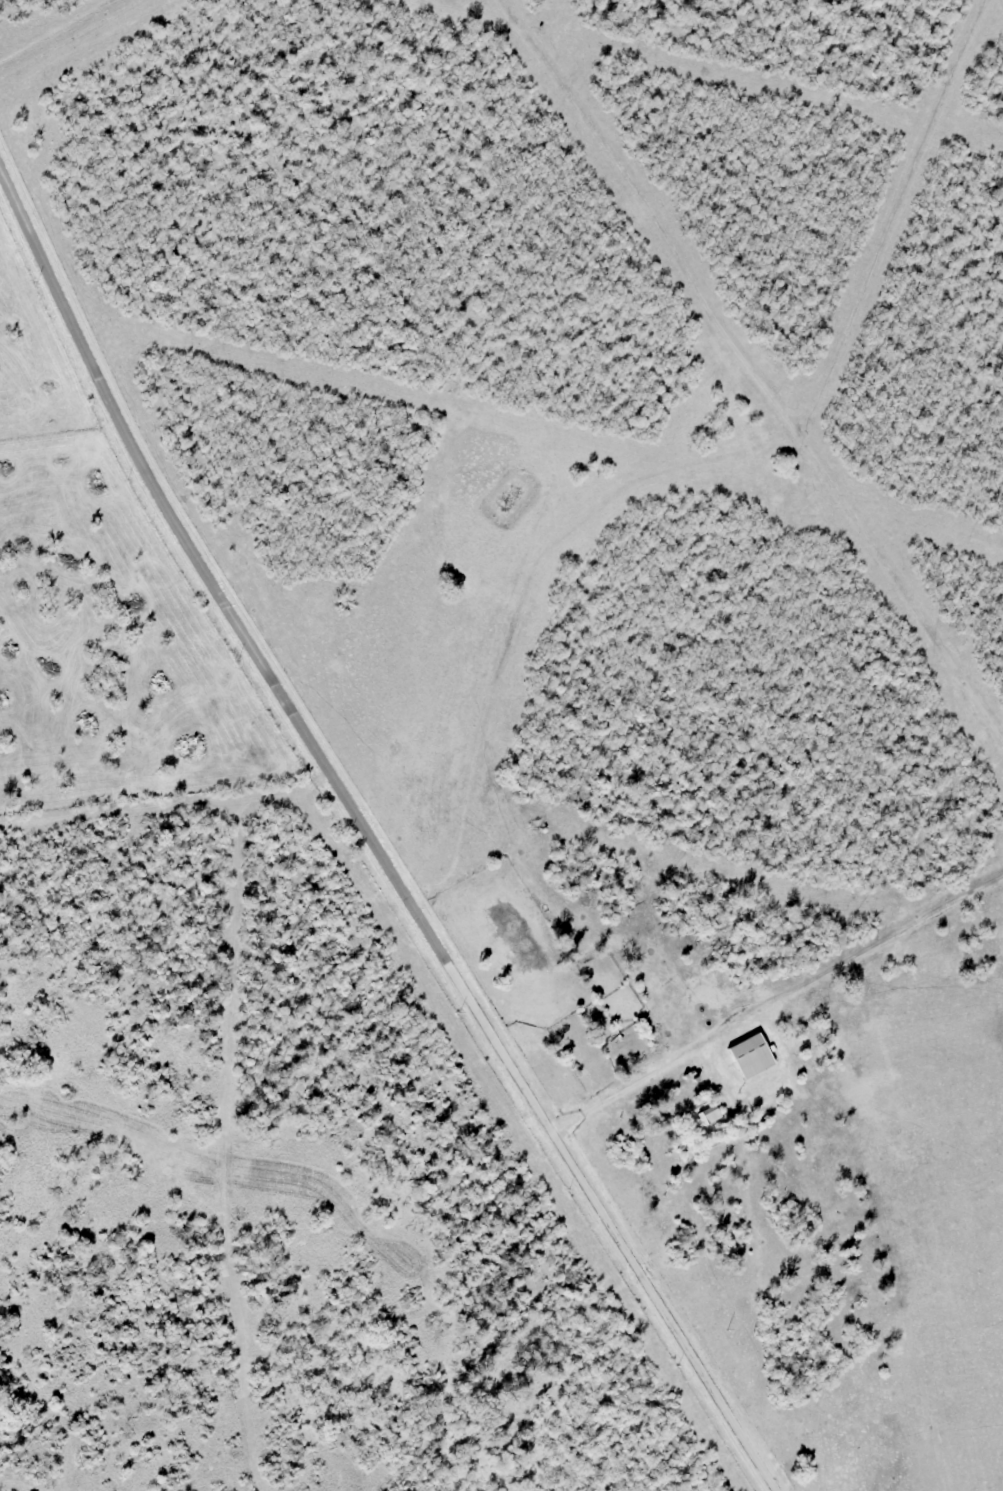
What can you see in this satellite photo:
road: (373, 834)
building: (750, 1057)
road: (771, 1268)

